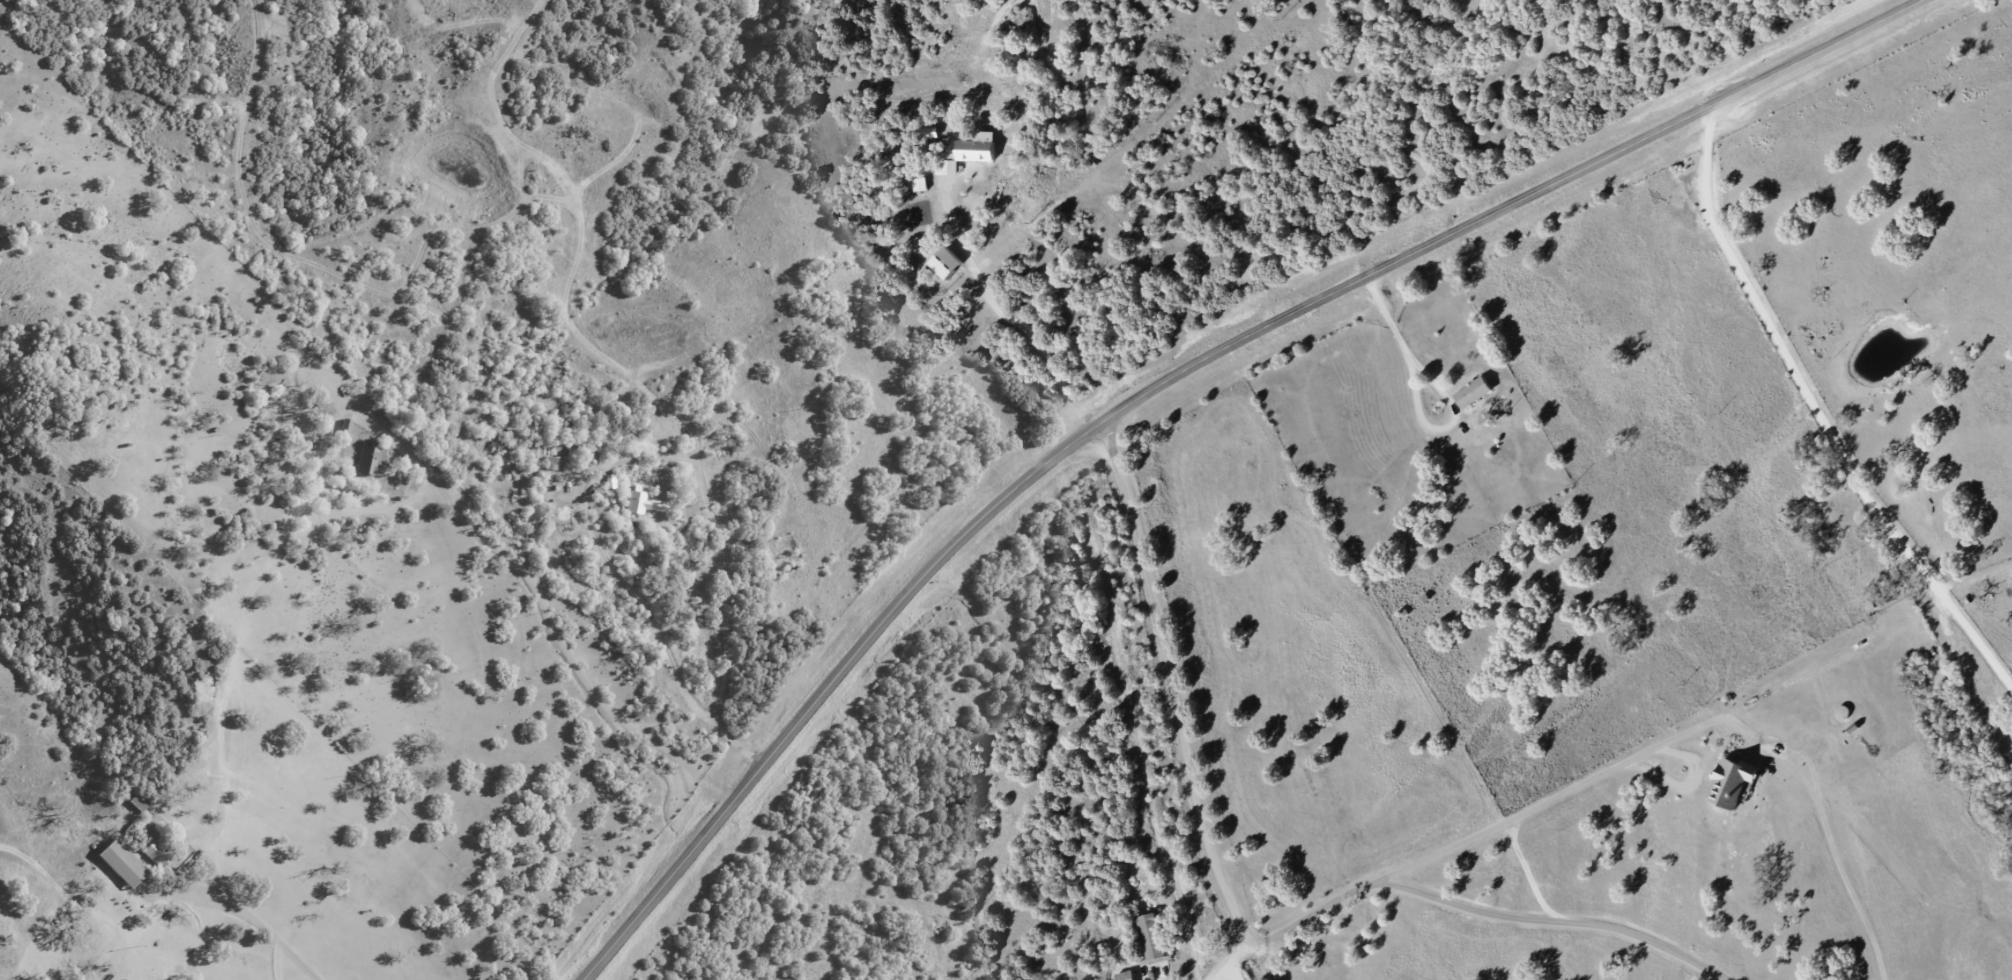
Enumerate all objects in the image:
building: (974, 150)
road: (1175, 378)
building: (1479, 398)
road: (1422, 400)
building: (369, 458)
building: (549, 464)
building: (643, 504)
road: (1178, 710)
building: (1730, 783)
building: (137, 804)
building: (154, 853)
building: (120, 864)
road: (207, 897)
building: (1159, 945)
building: (1124, 976)
building: (1133, 977)

